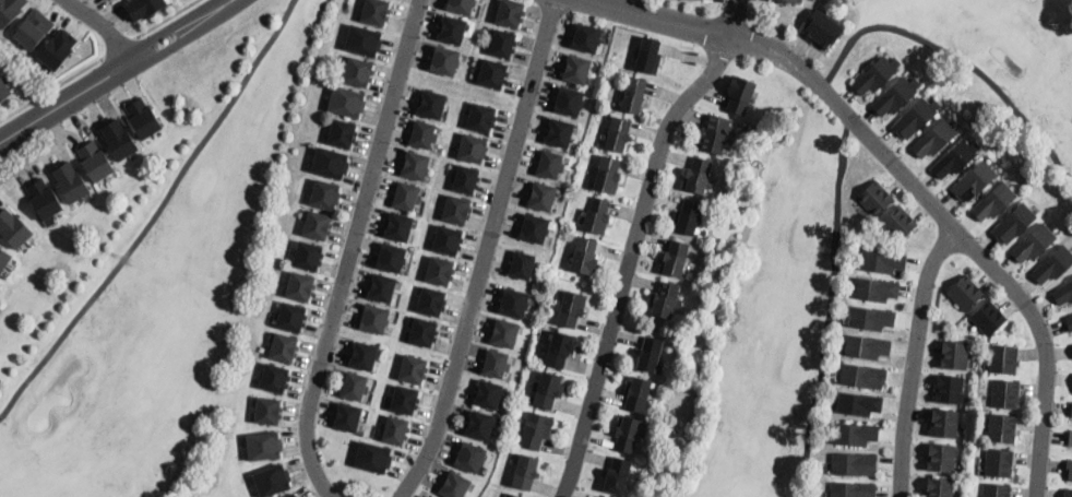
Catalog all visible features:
building: (109, 0)
building: (785, 1)
building: (461, 5)
building: (144, 8)
building: (10, 11)
building: (376, 12)
building: (511, 13)
road: (165, 17)
road: (658, 19)
road: (731, 19)
road: (103, 26)
road: (174, 26)
building: (822, 28)
building: (34, 29)
building: (452, 29)
road: (187, 35)
building: (586, 38)
building: (364, 40)
building: (502, 44)
road: (117, 46)
building: (58, 49)
building: (648, 56)
building: (444, 60)
building: (576, 69)
building: (358, 72)
building: (492, 74)
building: (876, 75)
road: (49, 88)
building: (4, 91)
building: (633, 95)
building: (740, 95)
road: (65, 97)
building: (895, 97)
building: (569, 100)
building: (347, 102)
building: (431, 104)
road: (838, 116)
building: (481, 118)
building: (916, 118)
building: (143, 121)
building: (342, 133)
building: (559, 133)
building: (422, 134)
building: (715, 134)
building: (618, 135)
building: (936, 138)
building: (119, 140)
building: (473, 149)
road: (43, 150)
building: (954, 159)
building: (94, 161)
building: (330, 163)
building: (549, 164)
building: (415, 165)
building: (608, 175)
building: (699, 176)
building: (466, 179)
building: (70, 182)
building: (975, 182)
building: (325, 194)
building: (406, 196)
building: (541, 197)
building: (44, 199)
building: (876, 199)
building: (994, 202)
building: (457, 210)
building: (597, 216)
road: (156, 217)
building: (688, 217)
park: (824, 222)
building: (900, 223)
building: (1014, 223)
building: (318, 225)
road: (955, 226)
building: (398, 227)
building: (534, 228)
building: (13, 229)
building: (448, 240)
building: (1034, 244)
road: (353, 249)
road: (486, 251)
building: (308, 256)
building: (585, 257)
building: (391, 258)
building: (675, 259)
building: (3, 260)
road: (628, 260)
building: (881, 261)
building: (522, 265)
building: (1055, 265)
building: (440, 271)
park: (162, 281)
building: (300, 286)
building: (382, 288)
building: (876, 291)
building: (966, 293)
building: (1063, 294)
building: (666, 300)
building: (432, 301)
building: (513, 303)
building: (571, 309)
building: (291, 317)
building: (871, 318)
building: (989, 318)
building: (373, 319)
building: (1069, 322)
building: (421, 332)
building: (504, 333)
building: (283, 347)
building: (867, 347)
building: (561, 350)
building: (651, 355)
building: (954, 355)
building: (362, 356)
road: (916, 358)
building: (1003, 360)
building: (496, 364)
building: (413, 370)
building: (863, 377)
building: (275, 378)
building: (354, 387)
building: (950, 390)
building: (549, 391)
building: (488, 394)
building: (638, 394)
building: (1005, 394)
building: (529, 398)
building: (405, 400)
building: (858, 404)
building: (269, 411)
building: (1071, 412)
building: (347, 417)
building: (944, 423)
building: (480, 425)
building: (1002, 428)
building: (395, 430)
building: (537, 430)
building: (628, 434)
building: (855, 434)
building: (1070, 439)
building: (264, 446)
building: (471, 457)
building: (373, 458)
building: (941, 458)
building: (999, 463)
building: (854, 464)
building: (1069, 470)
building: (526, 473)
building: (617, 476)
building: (272, 481)
building: (454, 485)
building: (940, 487)
building: (854, 489)
building: (997, 490)
building: (1068, 493)
building: (293, 495)
building: (433, 496)
building: (508, 496)
building: (600, 496)

